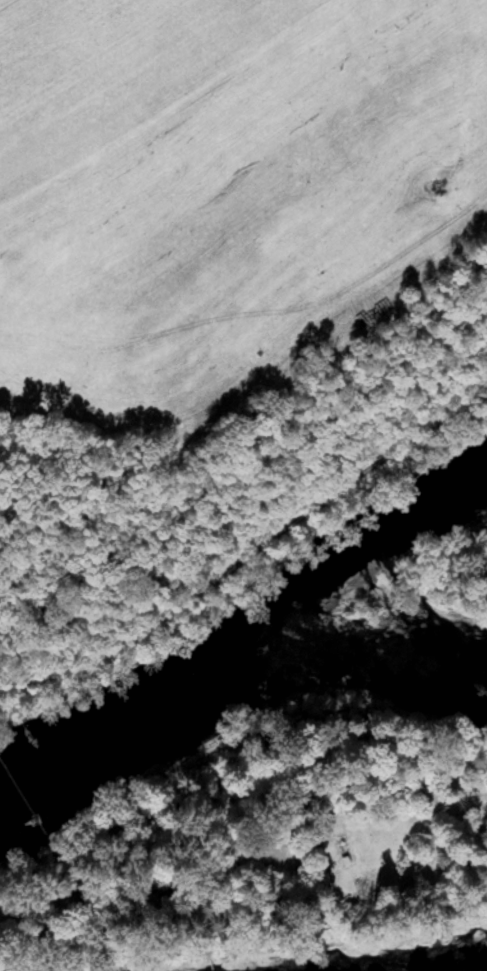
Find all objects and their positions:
road: (250, 551)
river: (357, 567)
river: (231, 678)
river: (431, 961)

